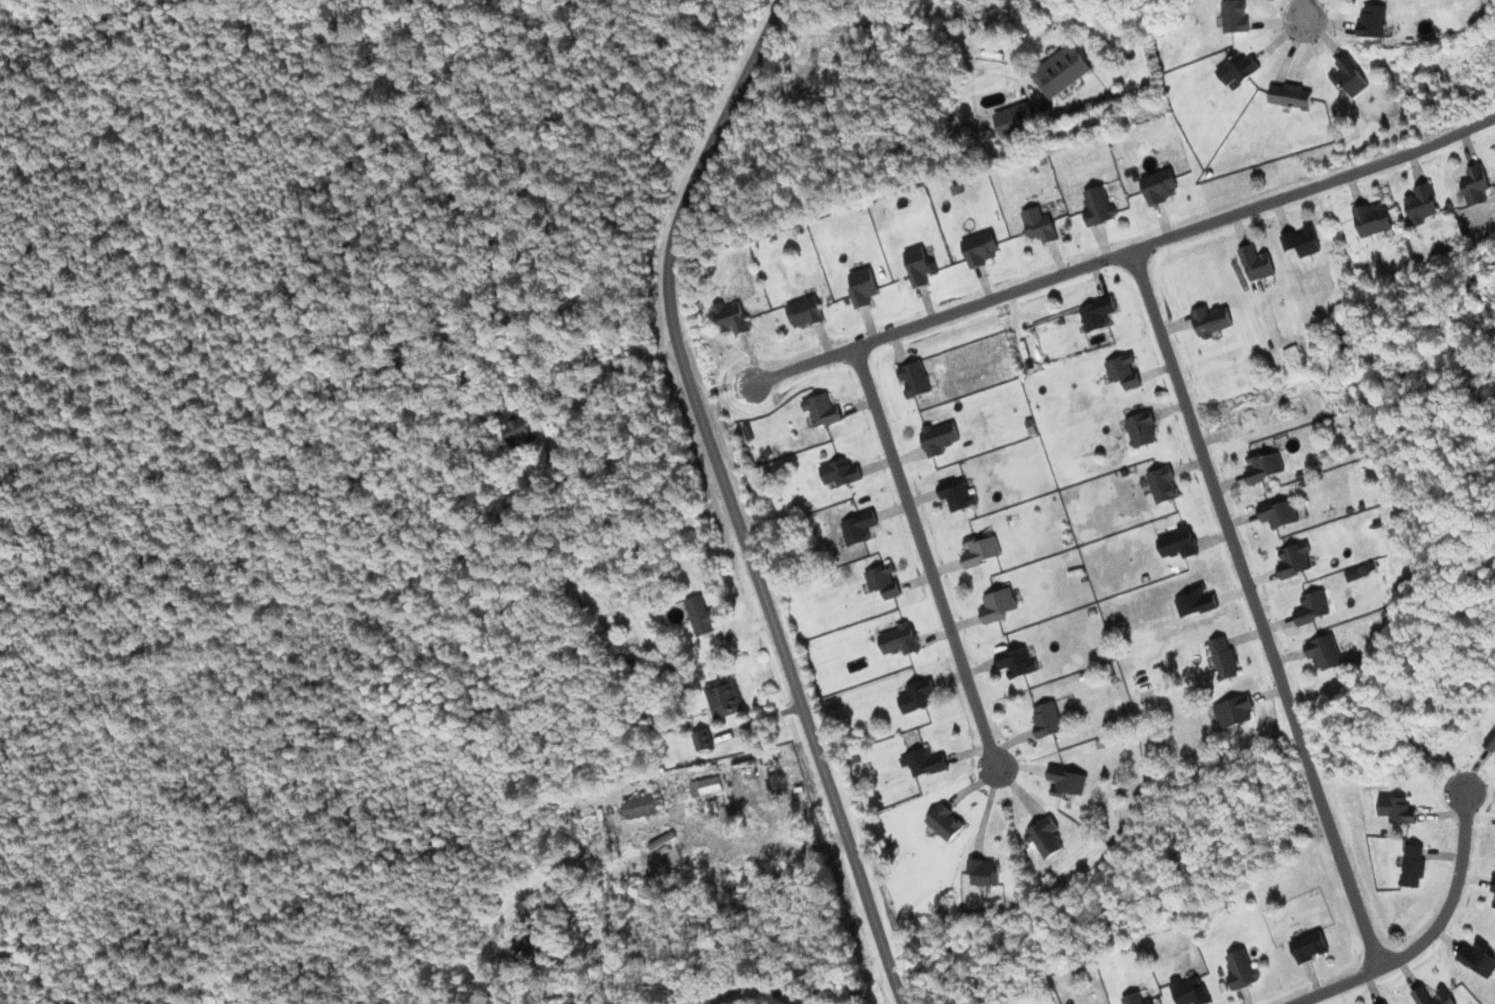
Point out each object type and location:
road: (1302, 9)
building: (1235, 16)
building: (1373, 20)
building: (1238, 69)
building: (1062, 71)
building: (1349, 76)
building: (1290, 95)
building: (1015, 119)
building: (1160, 185)
building: (1475, 185)
building: (1421, 204)
building: (1098, 206)
building: (1373, 220)
building: (1039, 225)
building: (1301, 240)
building: (980, 248)
road: (1124, 251)
building: (1256, 263)
building: (919, 265)
building: (862, 286)
building: (805, 311)
building: (1097, 313)
building: (731, 317)
building: (1211, 320)
building: (1123, 370)
building: (915, 378)
building: (820, 410)
building: (1141, 429)
building: (520, 432)
building: (939, 437)
building: (1263, 467)
building: (840, 472)
building: (1163, 484)
building: (957, 494)
road: (729, 498)
building: (1278, 512)
building: (858, 527)
building: (1177, 543)
building: (981, 550)
road: (923, 556)
building: (1293, 559)
building: (1359, 571)
building: (883, 580)
building: (1196, 601)
building: (998, 605)
building: (1311, 607)
road: (1255, 608)
building: (700, 615)
building: (900, 639)
building: (1323, 652)
building: (1224, 658)
building: (1017, 662)
building: (916, 696)
building: (725, 698)
building: (1233, 711)
building: (1047, 719)
building: (1491, 742)
building: (923, 761)
building: (1066, 781)
building: (706, 786)
building: (641, 806)
building: (1398, 809)
building: (945, 822)
building: (1043, 836)
building: (1413, 865)
building: (984, 871)
building: (1493, 884)
building: (1494, 904)
road: (1428, 934)
building: (1309, 946)
building: (528, 948)
building: (1478, 958)
building: (1190, 991)
road: (772, 994)
road: (568, 996)
building: (1432, 997)
building: (1136, 999)
building: (1386, 1003)

